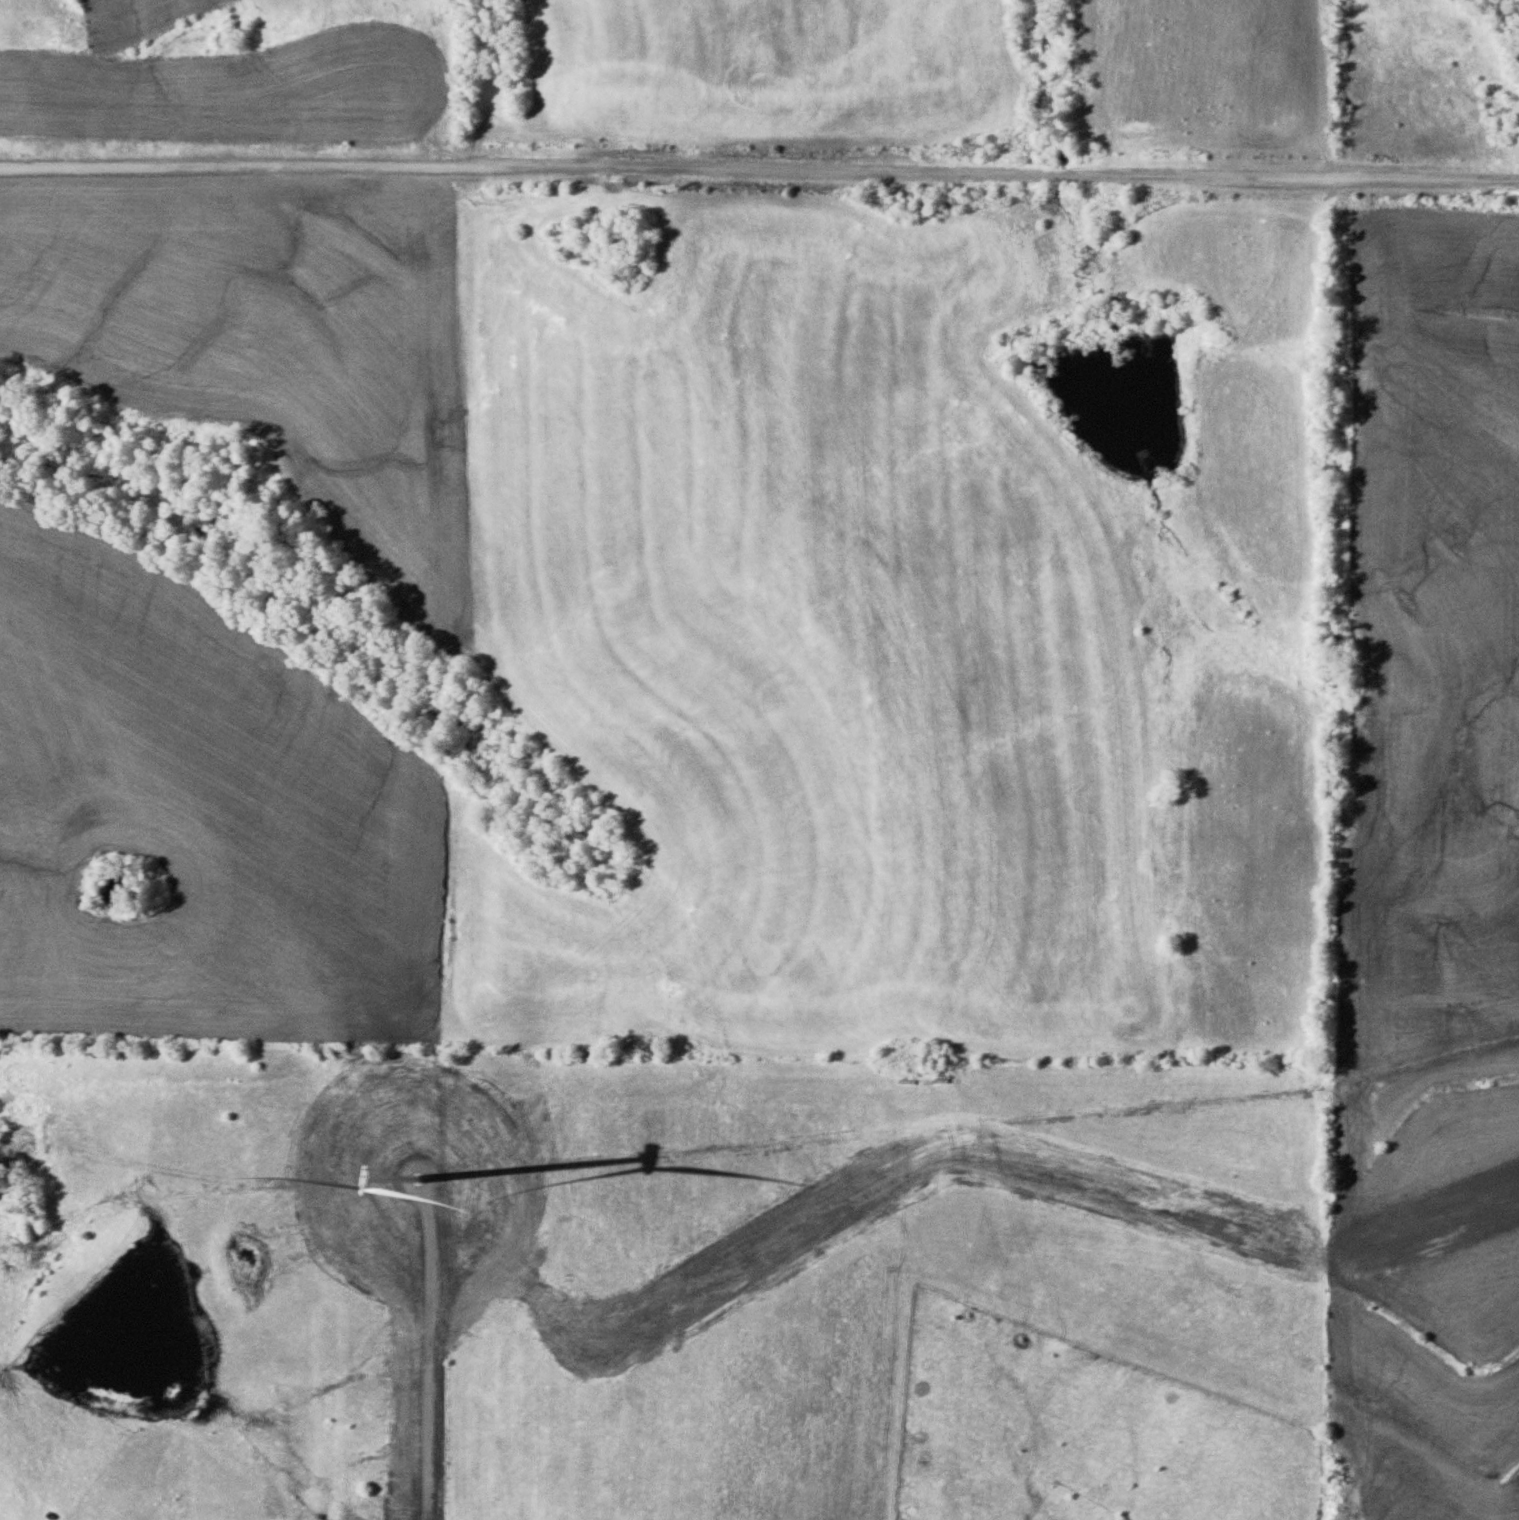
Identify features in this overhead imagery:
road: (759, 174)
wind turbine: (420, 1183)

